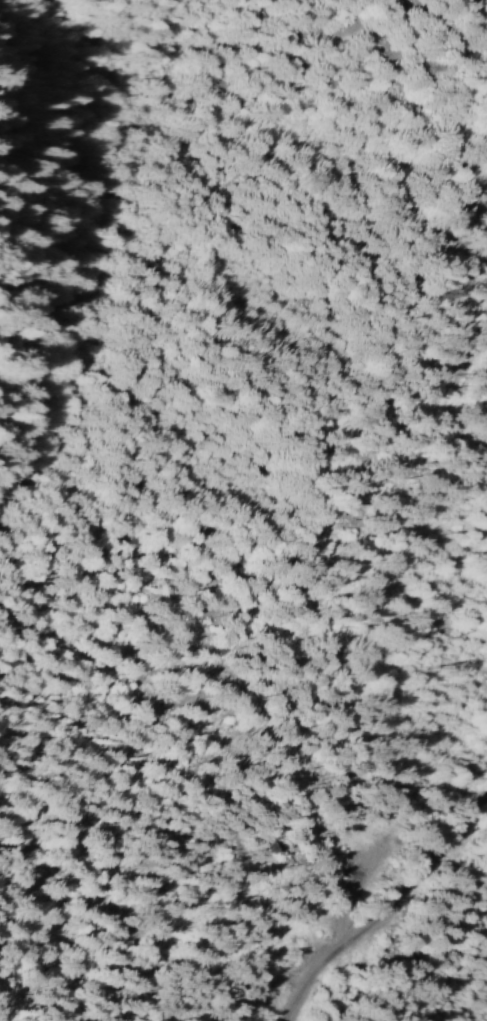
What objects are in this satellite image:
road: (382, 913)

